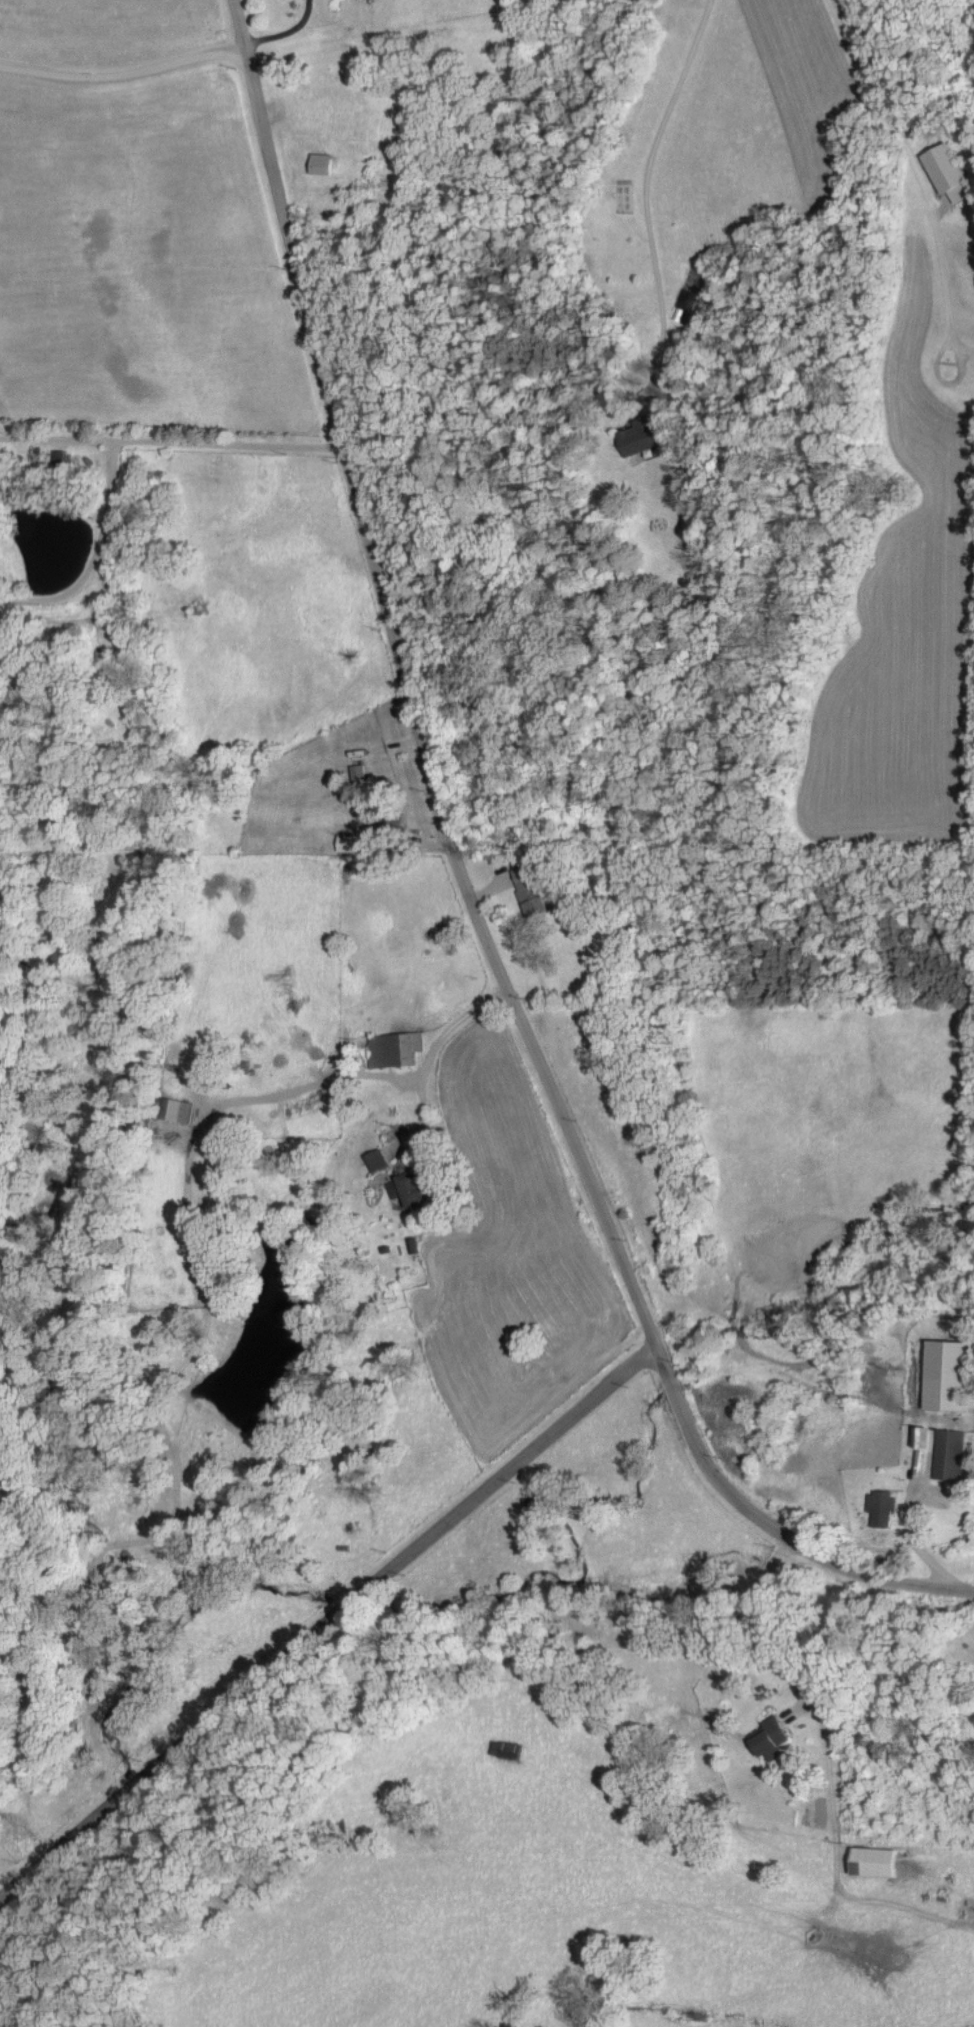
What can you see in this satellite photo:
road: (123, 67)
building: (323, 162)
road: (912, 163)
building: (946, 171)
building: (689, 307)
building: (641, 437)
road: (173, 440)
road: (97, 554)
building: (358, 774)
road: (442, 782)
building: (381, 827)
building: (528, 890)
building: (395, 1049)
building: (408, 1189)
building: (948, 1374)
building: (947, 1454)
building: (881, 1502)
road: (863, 1572)
road: (328, 1623)
road: (759, 1625)
building: (772, 1735)
building: (507, 1748)
building: (876, 1861)

